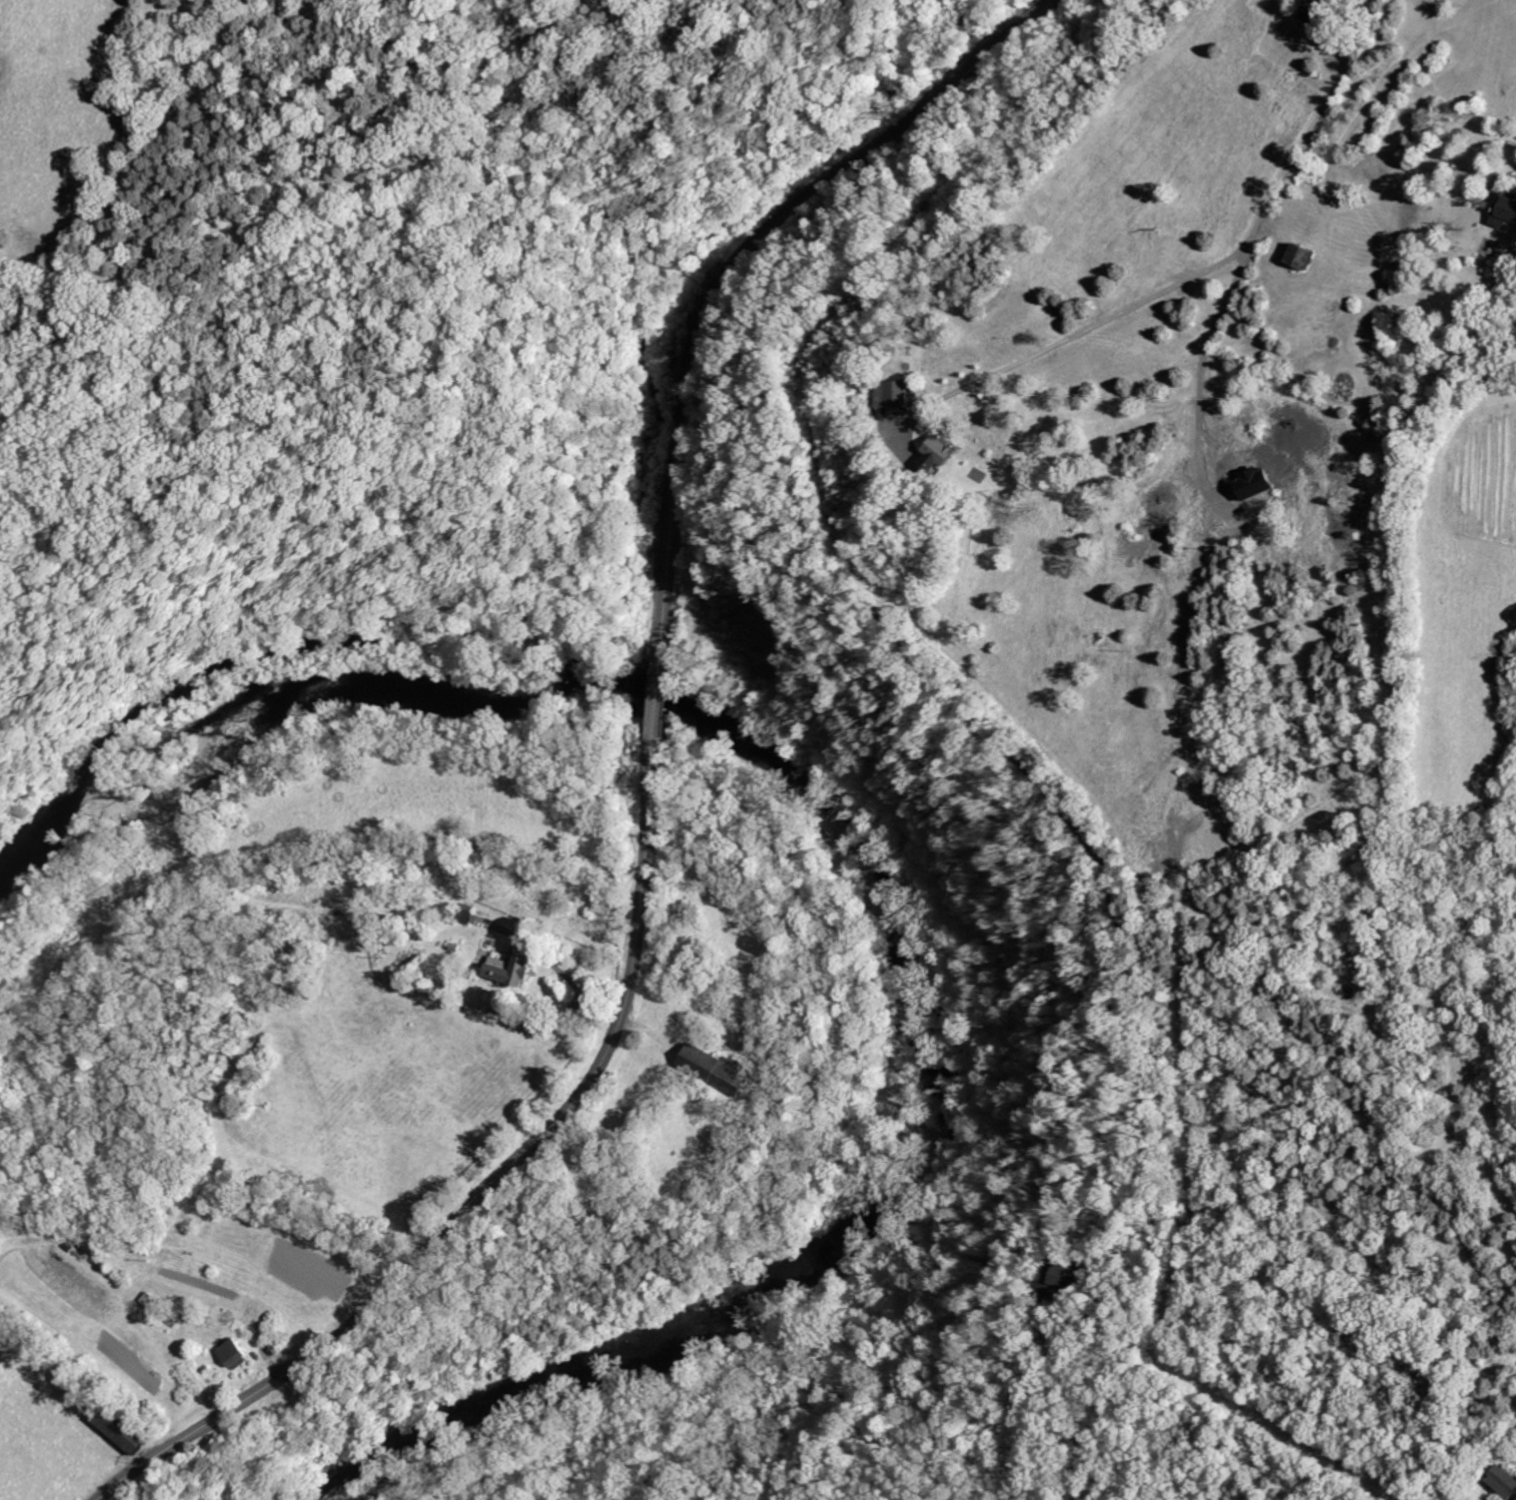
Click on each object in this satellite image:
building: (1317, 12)
building: (1506, 211)
building: (1512, 226)
road: (748, 258)
building: (1304, 258)
road: (1207, 278)
building: (894, 395)
building: (941, 456)
road: (661, 693)
road: (970, 726)
river: (871, 858)
building: (514, 972)
road: (579, 988)
building: (720, 1071)
road: (488, 1188)
building: (1059, 1281)
road: (1346, 1287)
building: (237, 1355)
road: (1054, 1403)
building: (124, 1431)
building: (1504, 1482)

